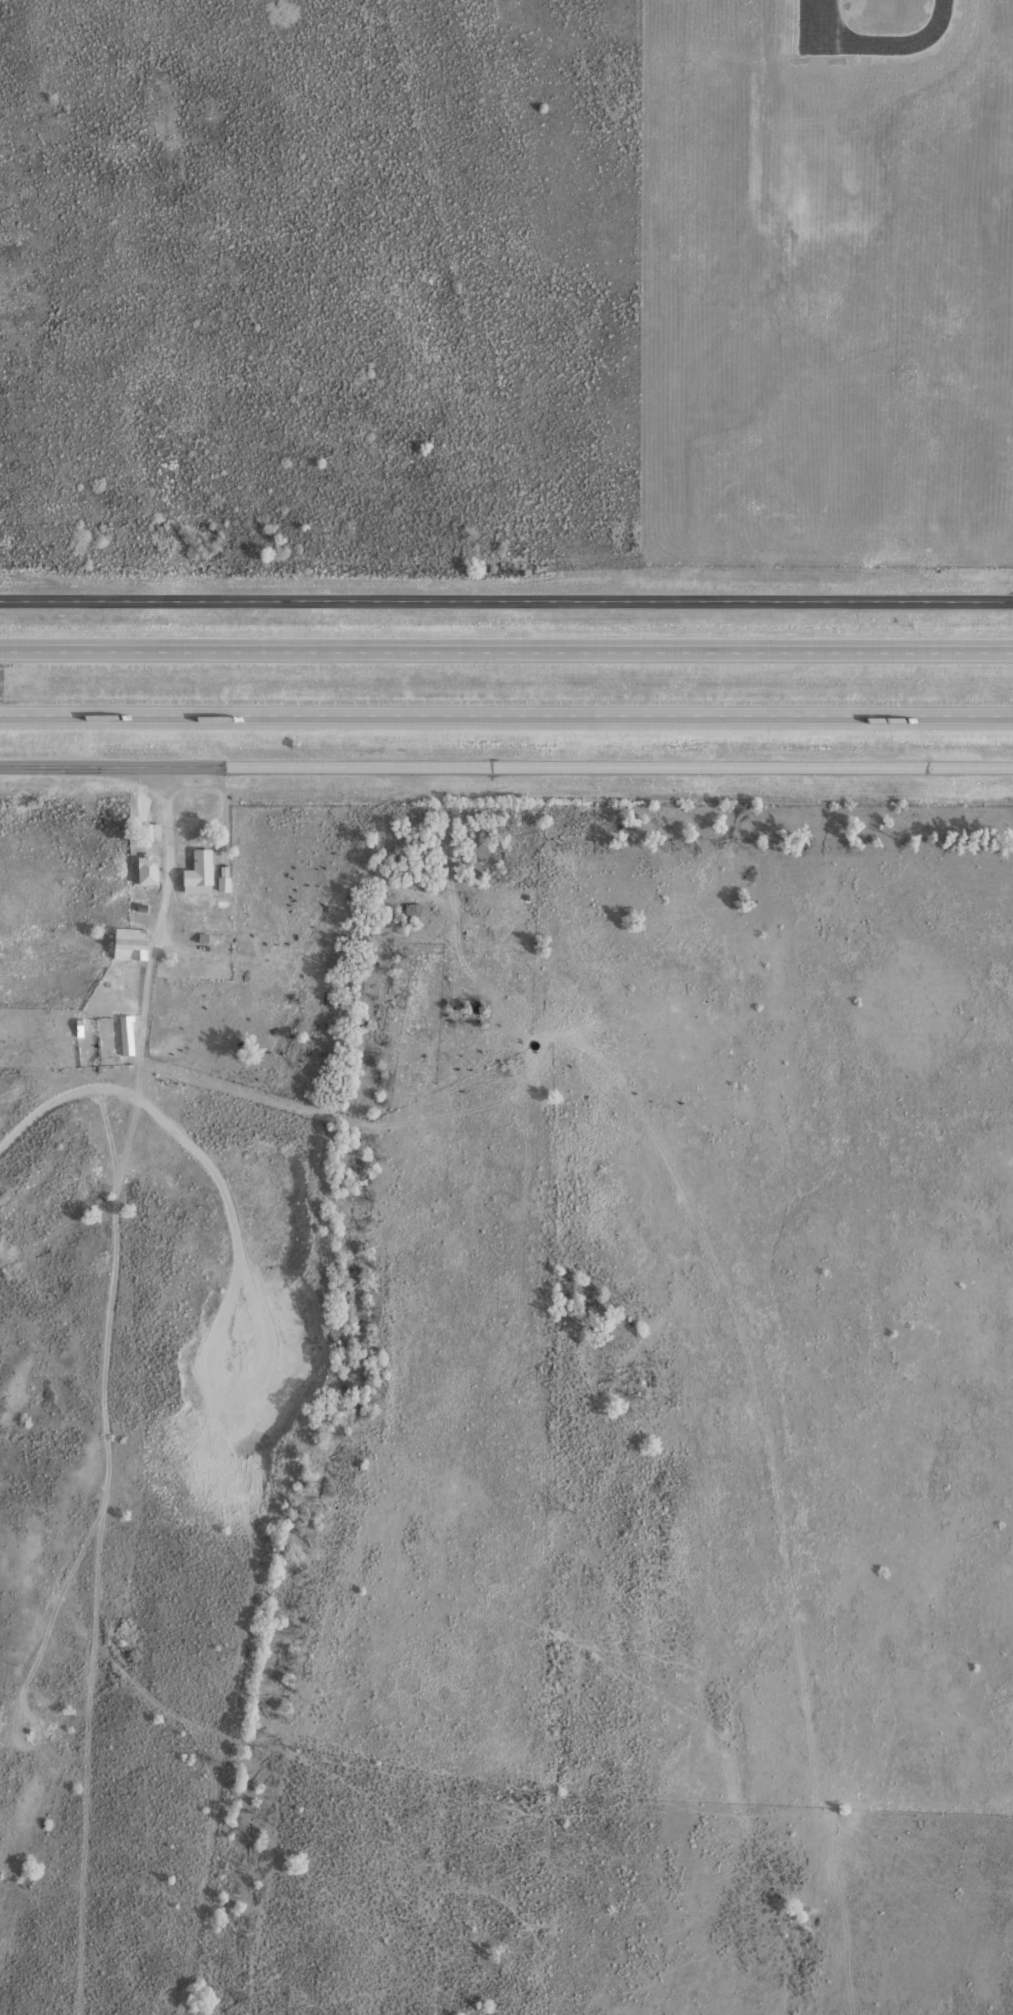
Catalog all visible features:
airport runway: (818, 25)
airport taxiway: (890, 44)
airport: (826, 280)
road: (506, 599)
road: (506, 648)
road: (506, 714)
road: (506, 766)
building: (151, 869)
building: (203, 873)
building: (226, 886)
building: (414, 912)
building: (132, 944)
building: (128, 1035)
road: (115, 1197)

